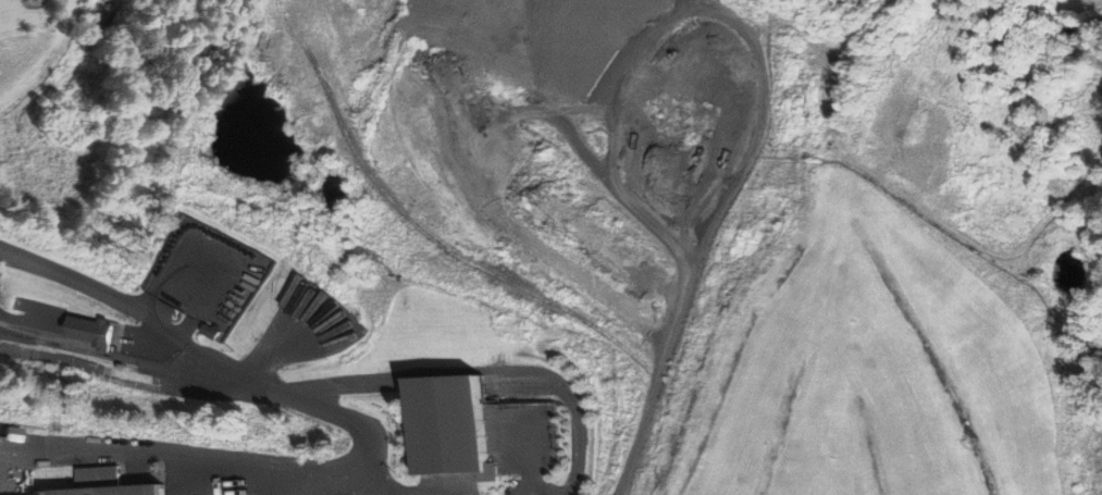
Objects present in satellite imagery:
road: (318, 5)
road: (903, 193)
road: (706, 235)
building: (91, 331)
building: (210, 331)
road: (213, 358)
park: (1094, 360)
road: (136, 361)
road: (474, 369)
building: (454, 425)
building: (107, 483)

